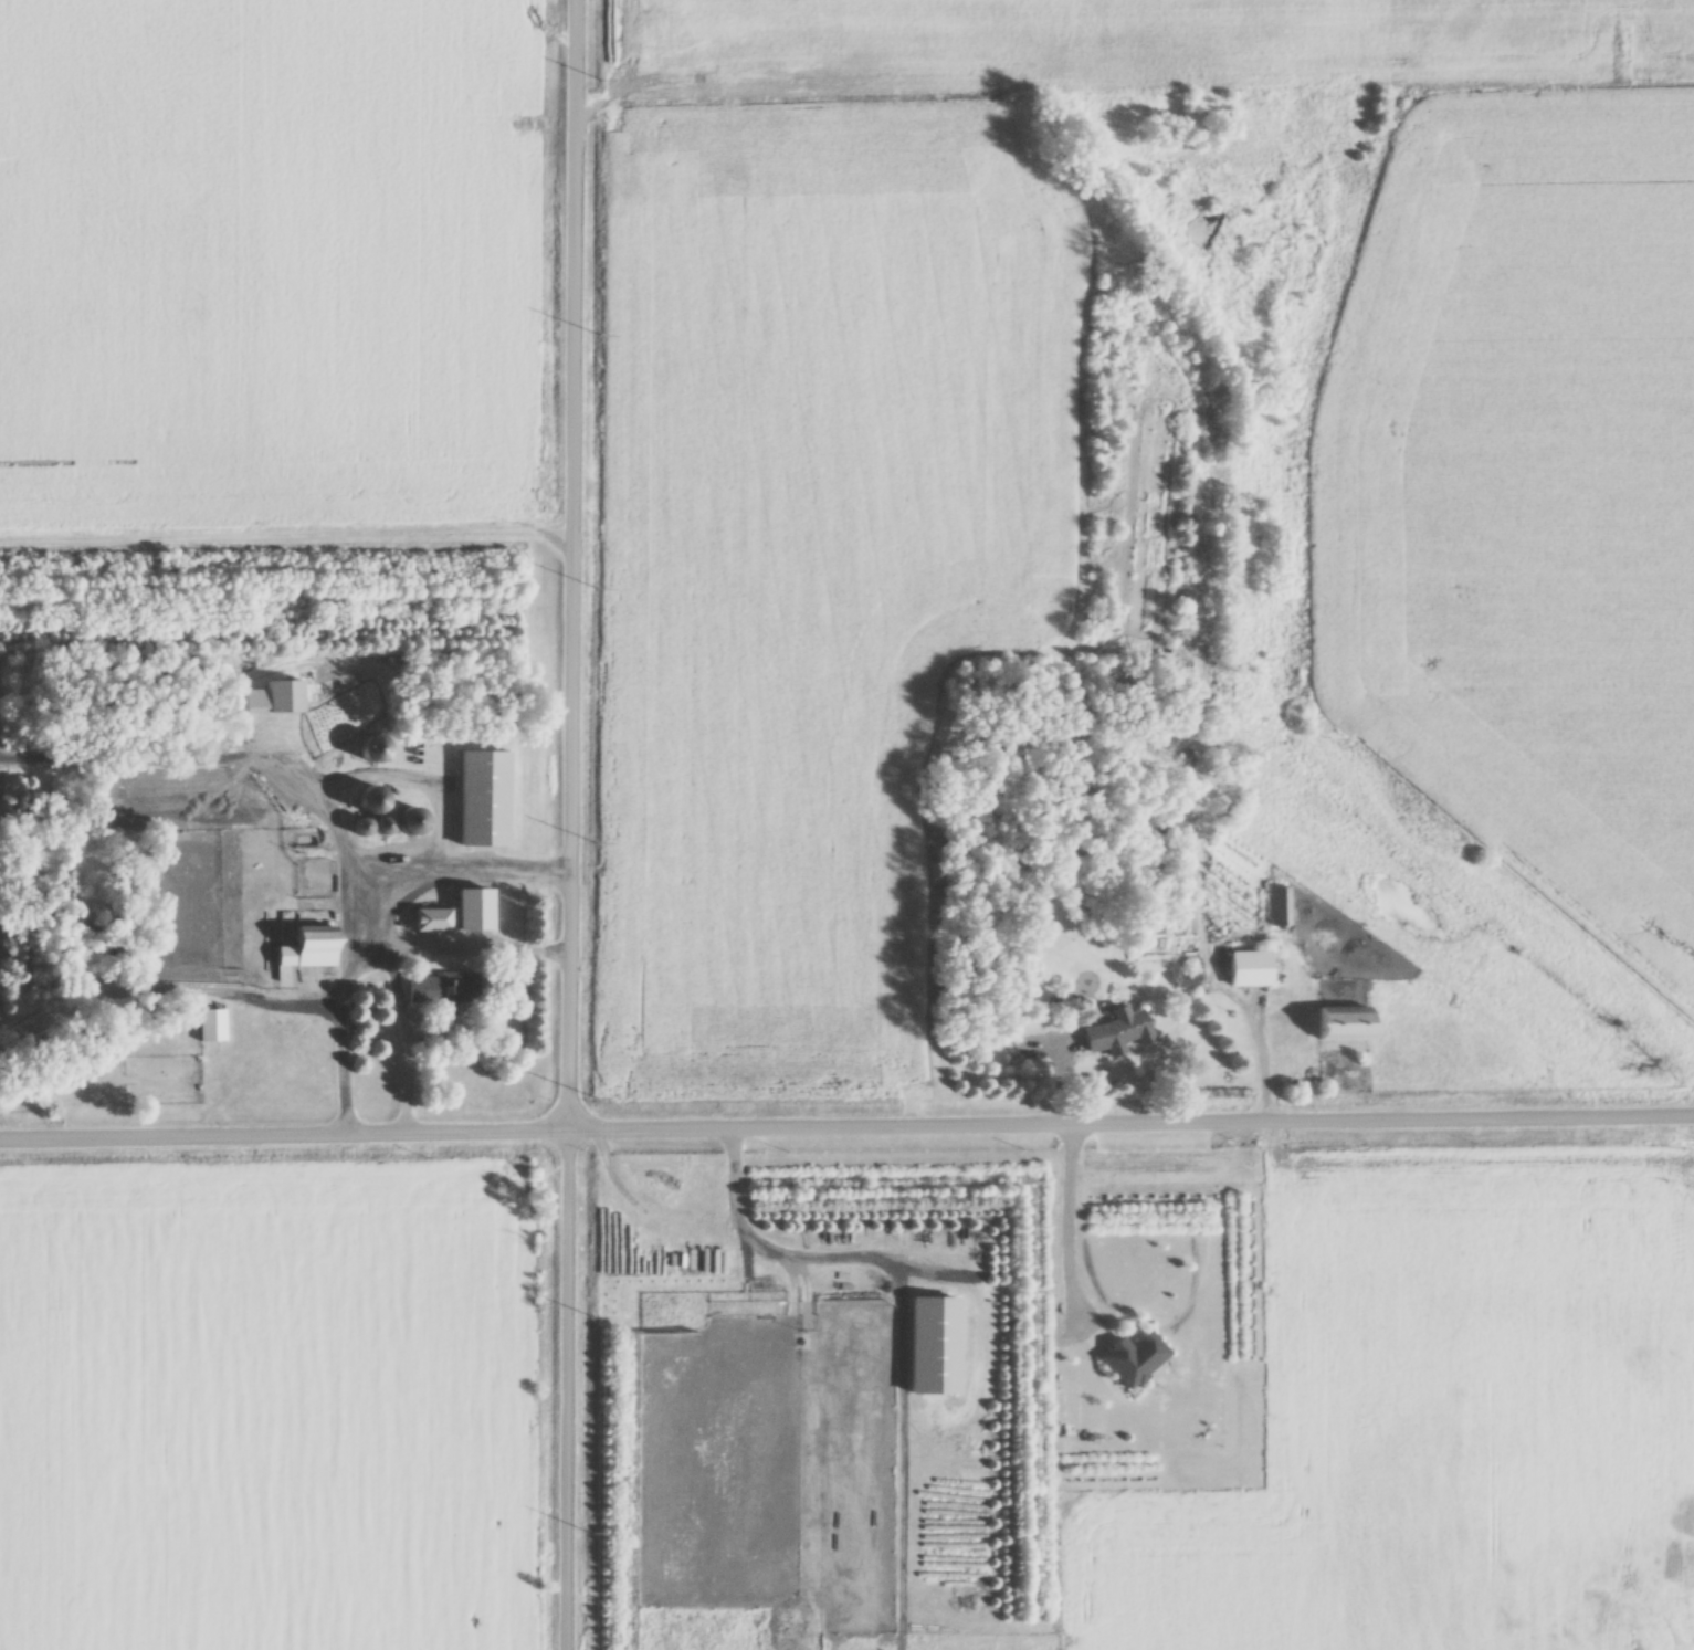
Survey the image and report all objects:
road: (569, 565)
building: (281, 698)
building: (371, 752)
building: (481, 801)
building: (367, 802)
building: (408, 823)
road: (357, 910)
building: (1280, 910)
building: (456, 915)
road: (453, 950)
building: (306, 952)
building: (1246, 971)
building: (440, 992)
building: (1339, 1027)
building: (210, 1028)
building: (1115, 1032)
road: (399, 1041)
road: (846, 1126)
road: (1064, 1229)
road: (767, 1249)
road: (565, 1390)

